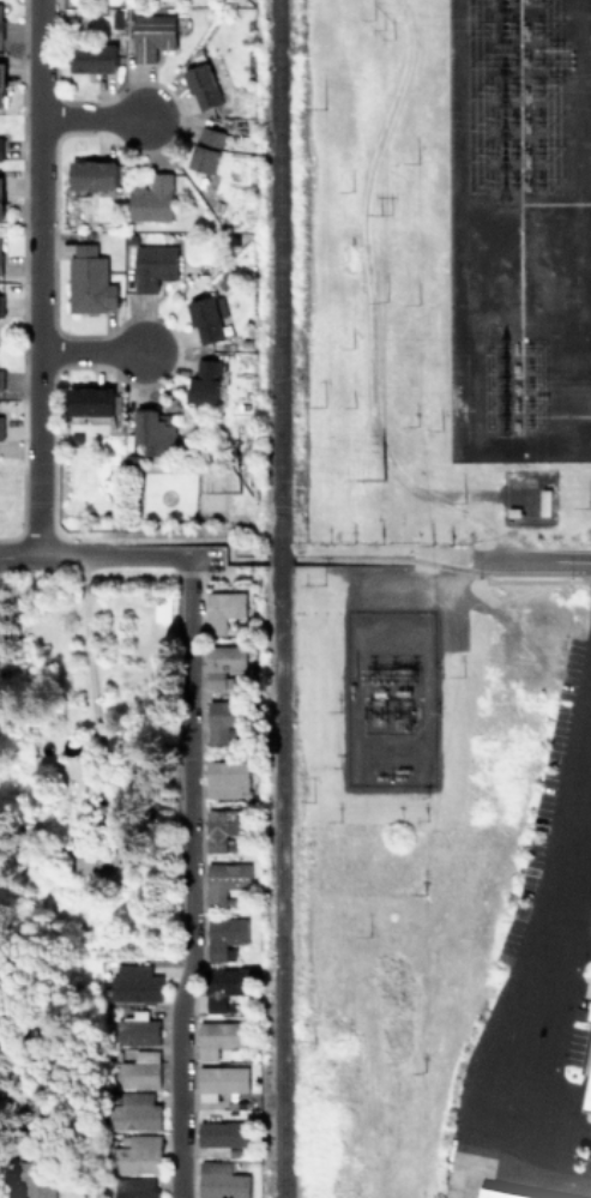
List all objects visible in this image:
building: (0, 19)
power tower: (381, 26)
building: (151, 35)
building: (94, 58)
building: (1, 84)
building: (201, 86)
road: (90, 119)
building: (0, 148)
building: (206, 149)
building: (92, 174)
building: (151, 199)
building: (0, 200)
power tower: (384, 211)
power substation: (519, 236)
building: (0, 248)
building: (153, 266)
road: (36, 278)
building: (89, 281)
railway: (276, 309)
building: (205, 320)
road: (90, 351)
building: (204, 383)
building: (89, 403)
building: (0, 427)
building: (153, 432)
power tower: (378, 477)
power tower: (236, 489)
road: (177, 540)
road: (50, 556)
road: (157, 556)
road: (396, 560)
road: (539, 562)
building: (222, 609)
building: (224, 664)
road: (91, 687)
power substation: (388, 697)
building: (223, 718)
building: (227, 778)
building: (224, 826)
building: (97, 856)
road: (189, 878)
parking lot: (553, 879)
building: (224, 880)
railway: (276, 908)
building: (224, 938)
road: (545, 940)
road: (569, 940)
building: (134, 983)
building: (224, 987)
building: (590, 1013)
building: (590, 1018)
building: (138, 1031)
building: (218, 1037)
building: (138, 1070)
building: (221, 1080)
building: (587, 1092)
building: (134, 1110)
road: (532, 1115)
building: (222, 1137)
building: (138, 1155)
parking lot: (586, 1158)
road: (572, 1167)
building: (32, 1179)
building: (134, 1187)
building: (503, 1192)

